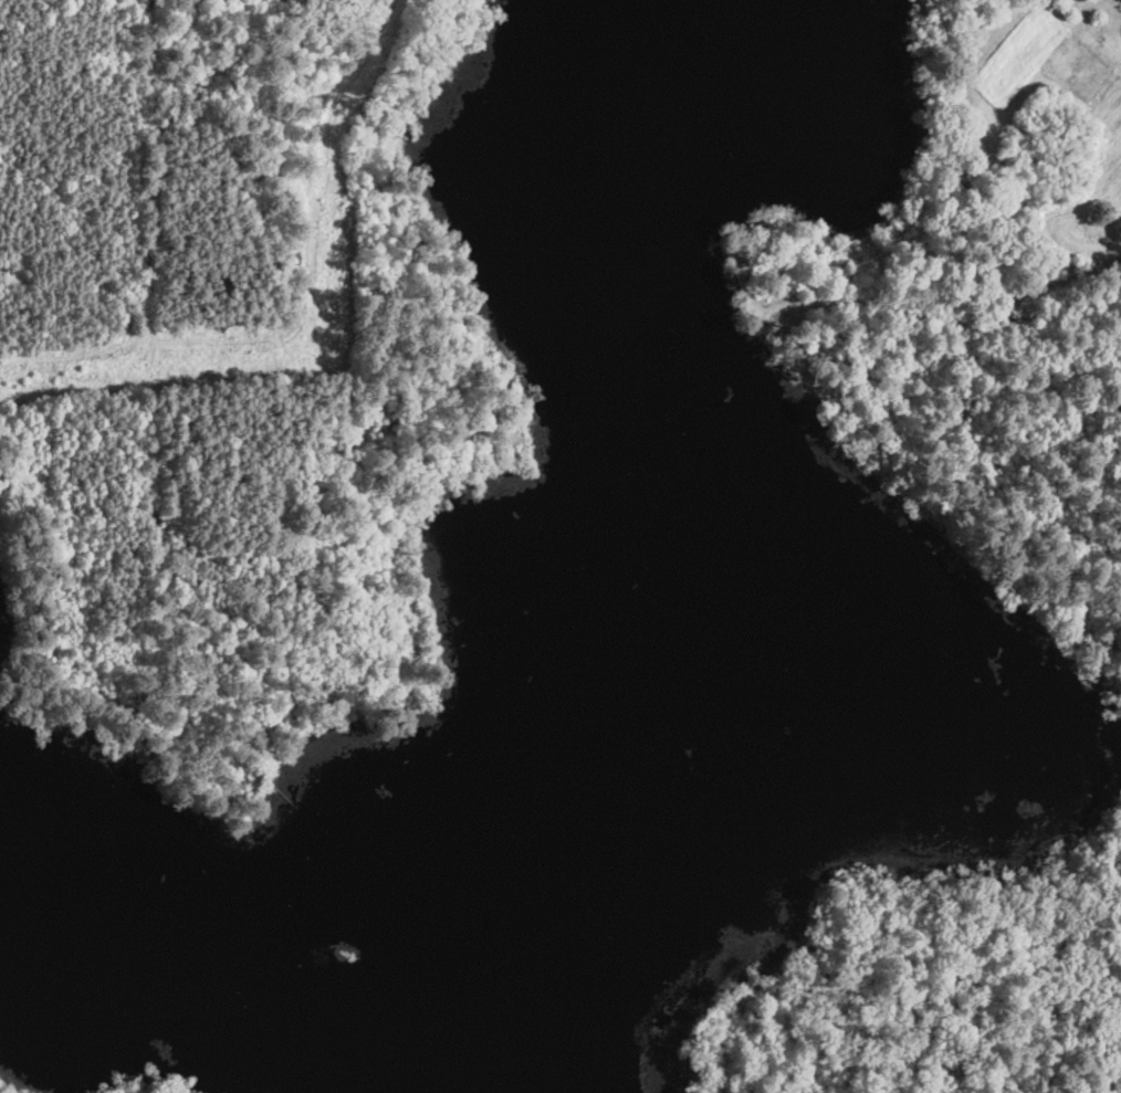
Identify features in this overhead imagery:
building: (742, 320)
building: (1115, 390)

